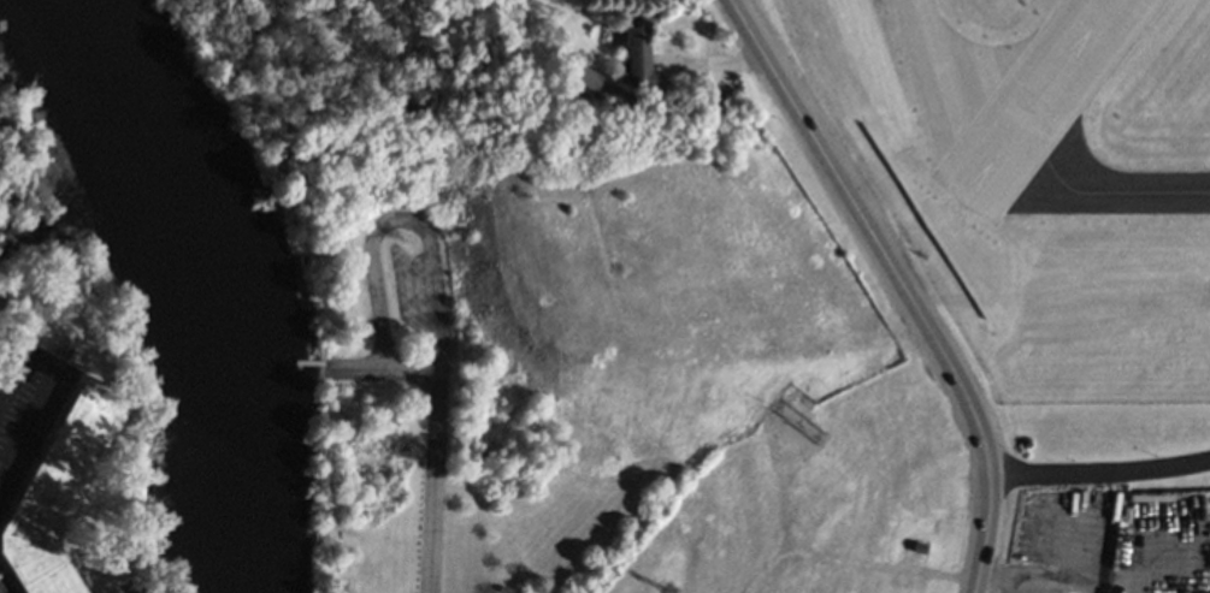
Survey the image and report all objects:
building: (639, 53)
building: (585, 79)
airport taxiway: (958, 88)
airport runway: (1035, 99)
airport: (1040, 173)
airport taxiway: (1080, 190)
road: (427, 266)
river: (207, 273)
road: (901, 286)
pier: (301, 363)
road: (45, 386)
road: (1104, 469)
road: (430, 482)
building: (52, 491)

